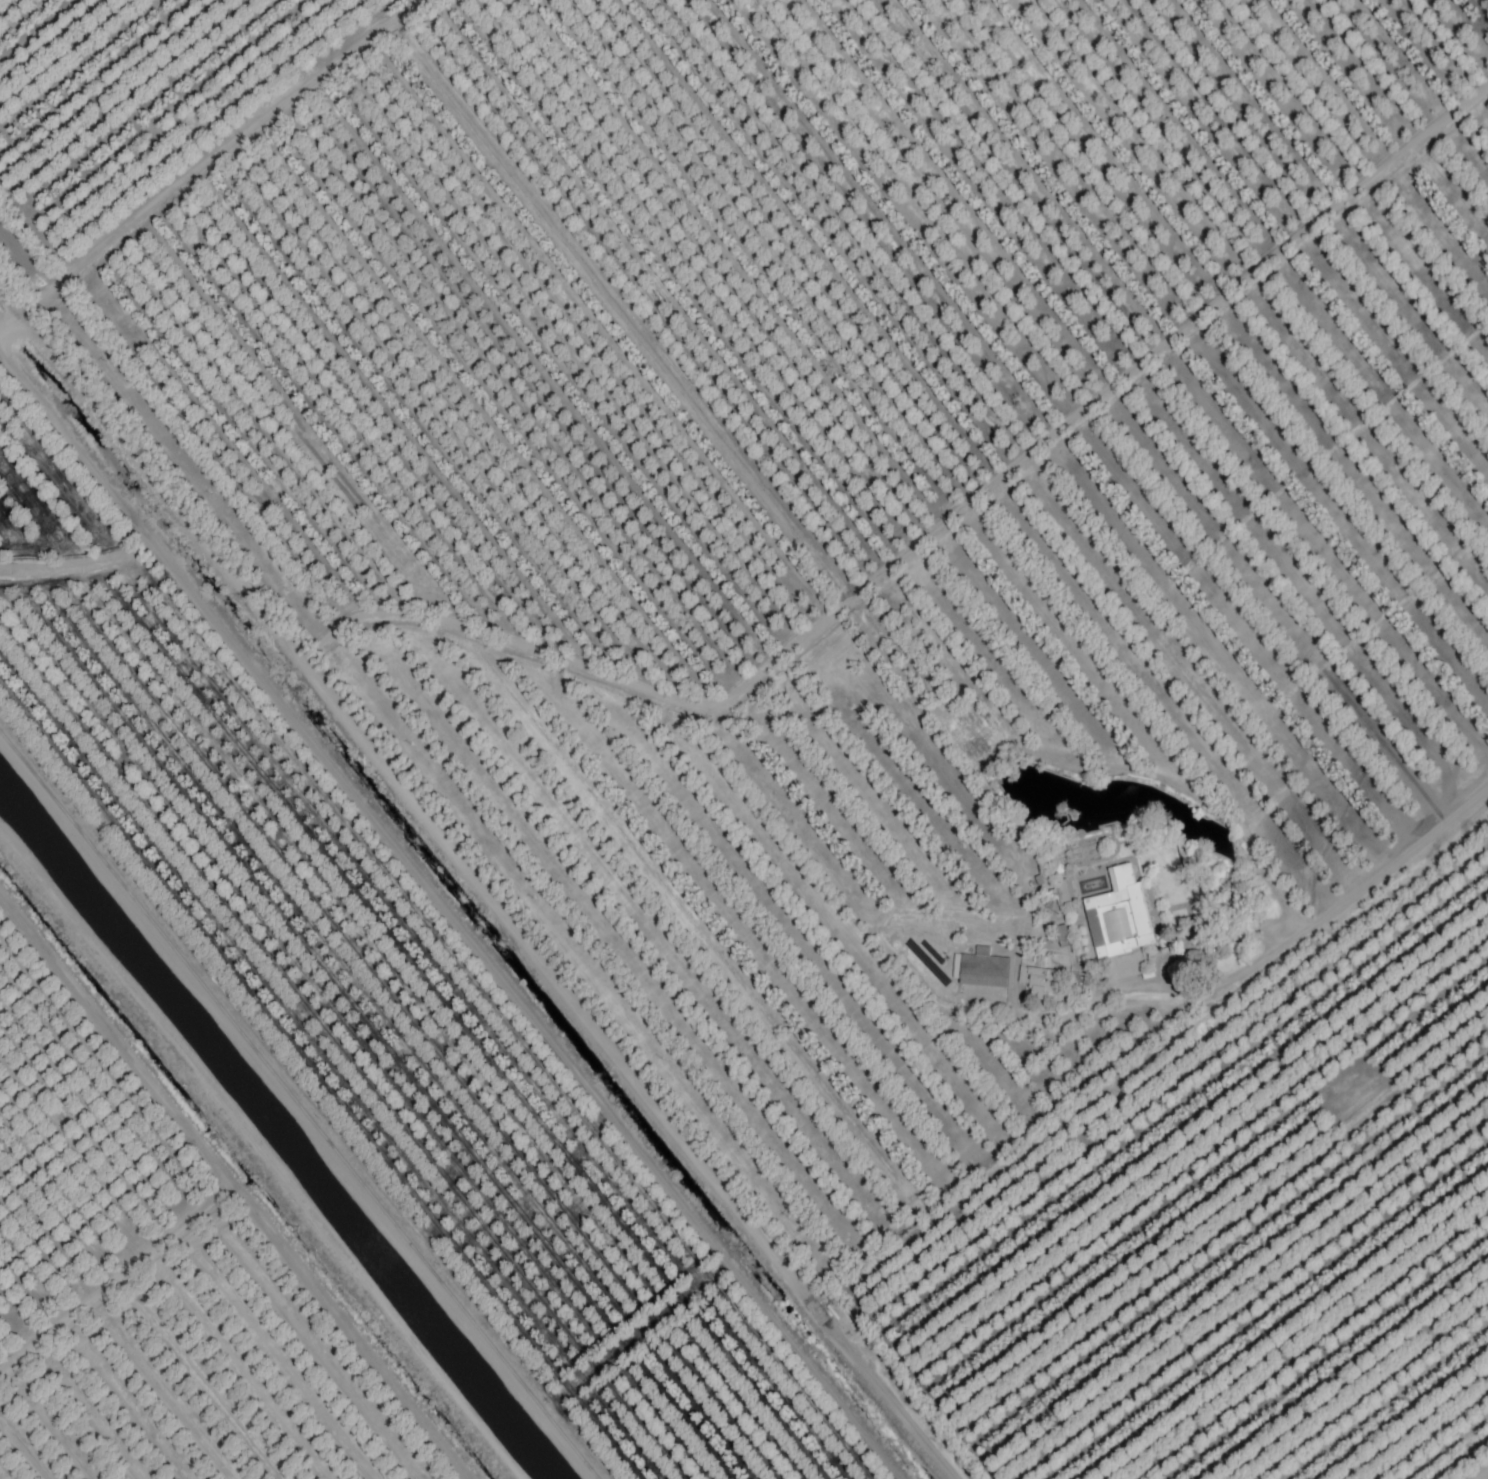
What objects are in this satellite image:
building: (1108, 908)
road: (1316, 925)
building: (980, 969)
road: (294, 1110)
road: (258, 1156)
road: (231, 1186)
road: (1484, 1476)

